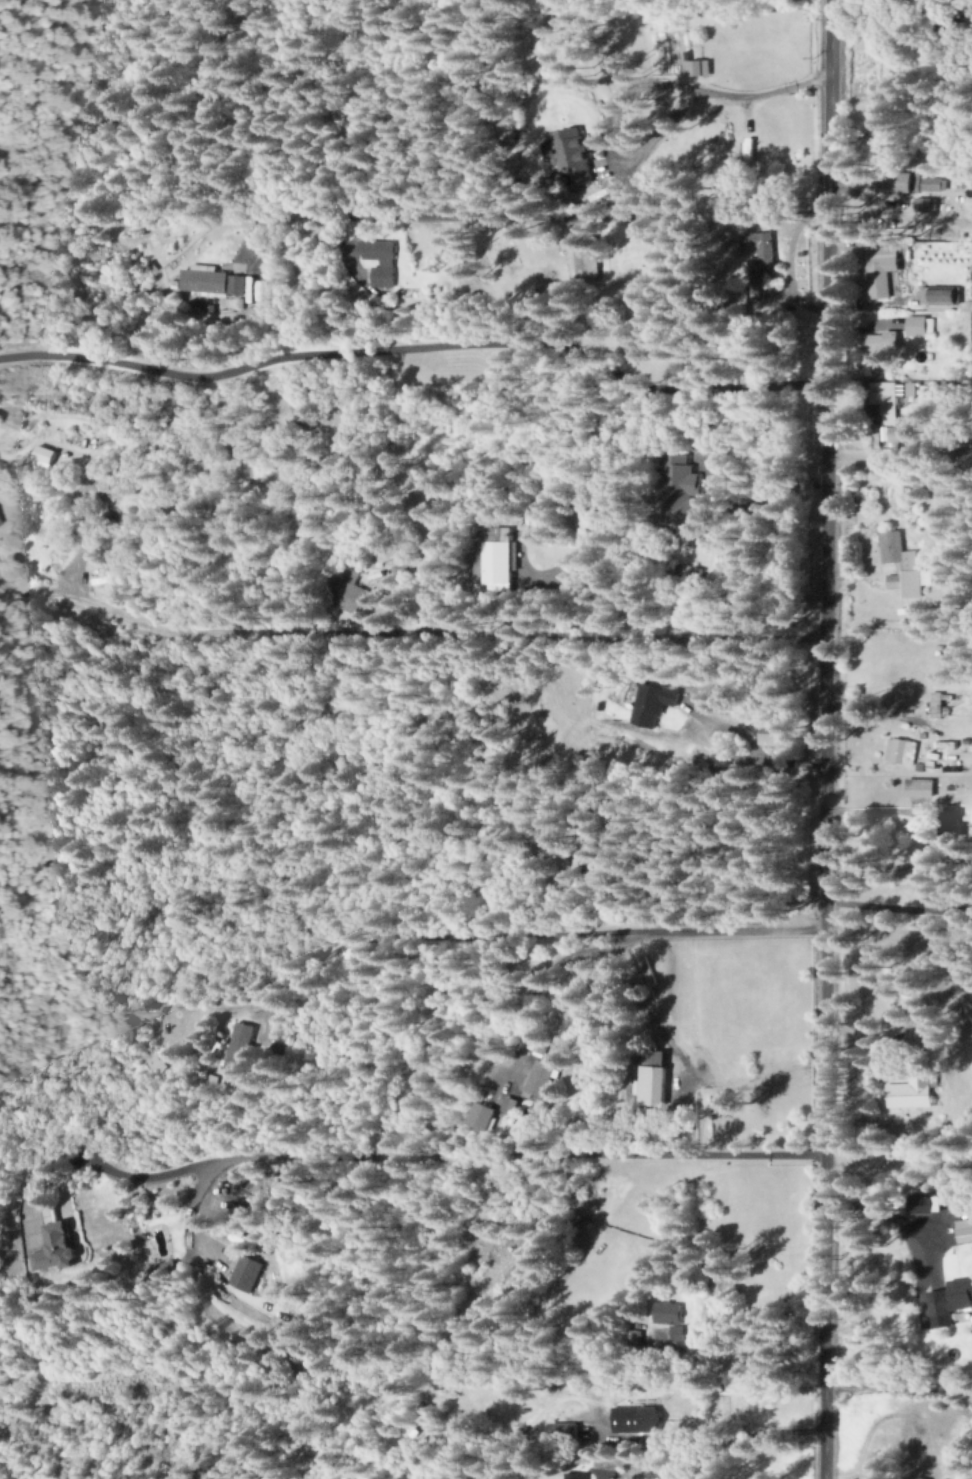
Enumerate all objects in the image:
building: (697, 69)
building: (750, 149)
building: (571, 156)
building: (934, 185)
building: (924, 206)
building: (763, 254)
building: (380, 262)
building: (882, 271)
building: (212, 283)
building: (941, 298)
building: (920, 326)
road: (414, 345)
building: (881, 346)
building: (886, 401)
building: (304, 412)
building: (897, 437)
building: (44, 458)
building: (680, 493)
building: (0, 524)
building: (498, 562)
building: (903, 567)
building: (348, 592)
building: (718, 699)
building: (652, 704)
building: (937, 704)
building: (773, 734)
road: (823, 739)
building: (900, 752)
building: (940, 752)
building: (916, 788)
building: (241, 1046)
building: (539, 1046)
building: (542, 1080)
building: (653, 1086)
building: (916, 1093)
building: (511, 1106)
building: (482, 1117)
building: (965, 1231)
building: (55, 1249)
building: (248, 1274)
building: (951, 1302)
building: (673, 1320)
building: (636, 1420)

